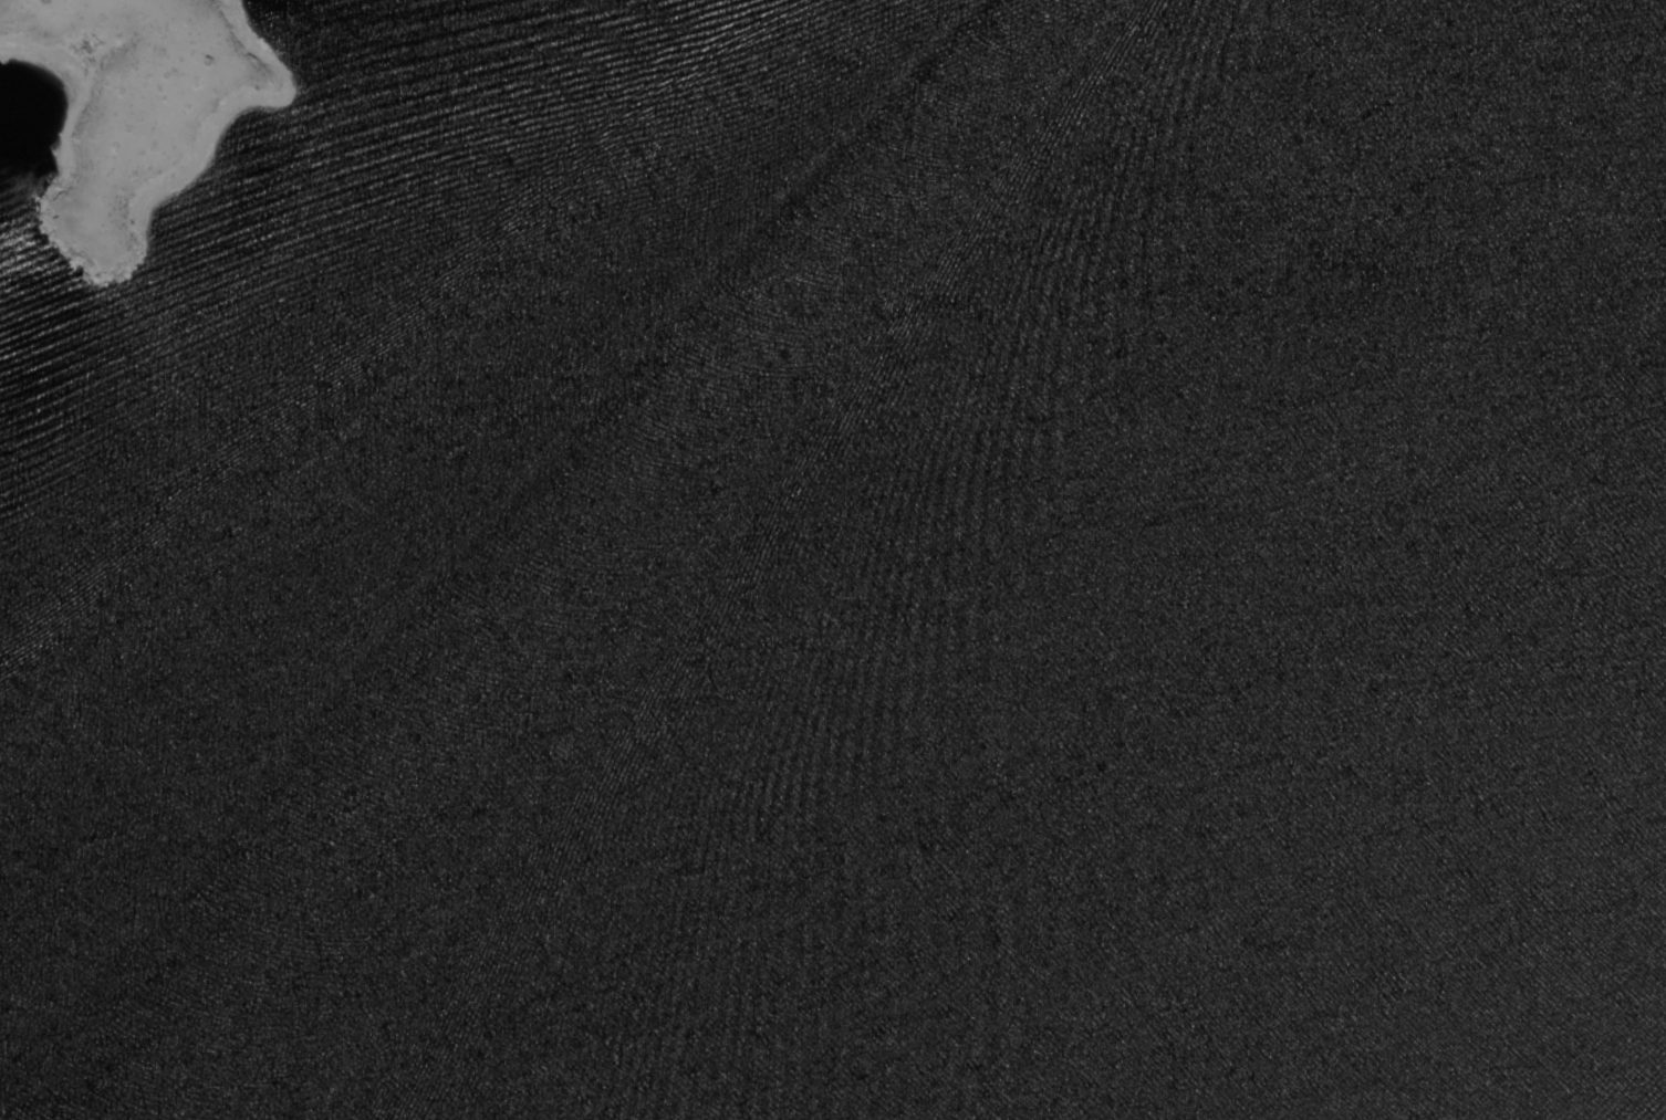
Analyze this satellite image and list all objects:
river: (1024, 600)

